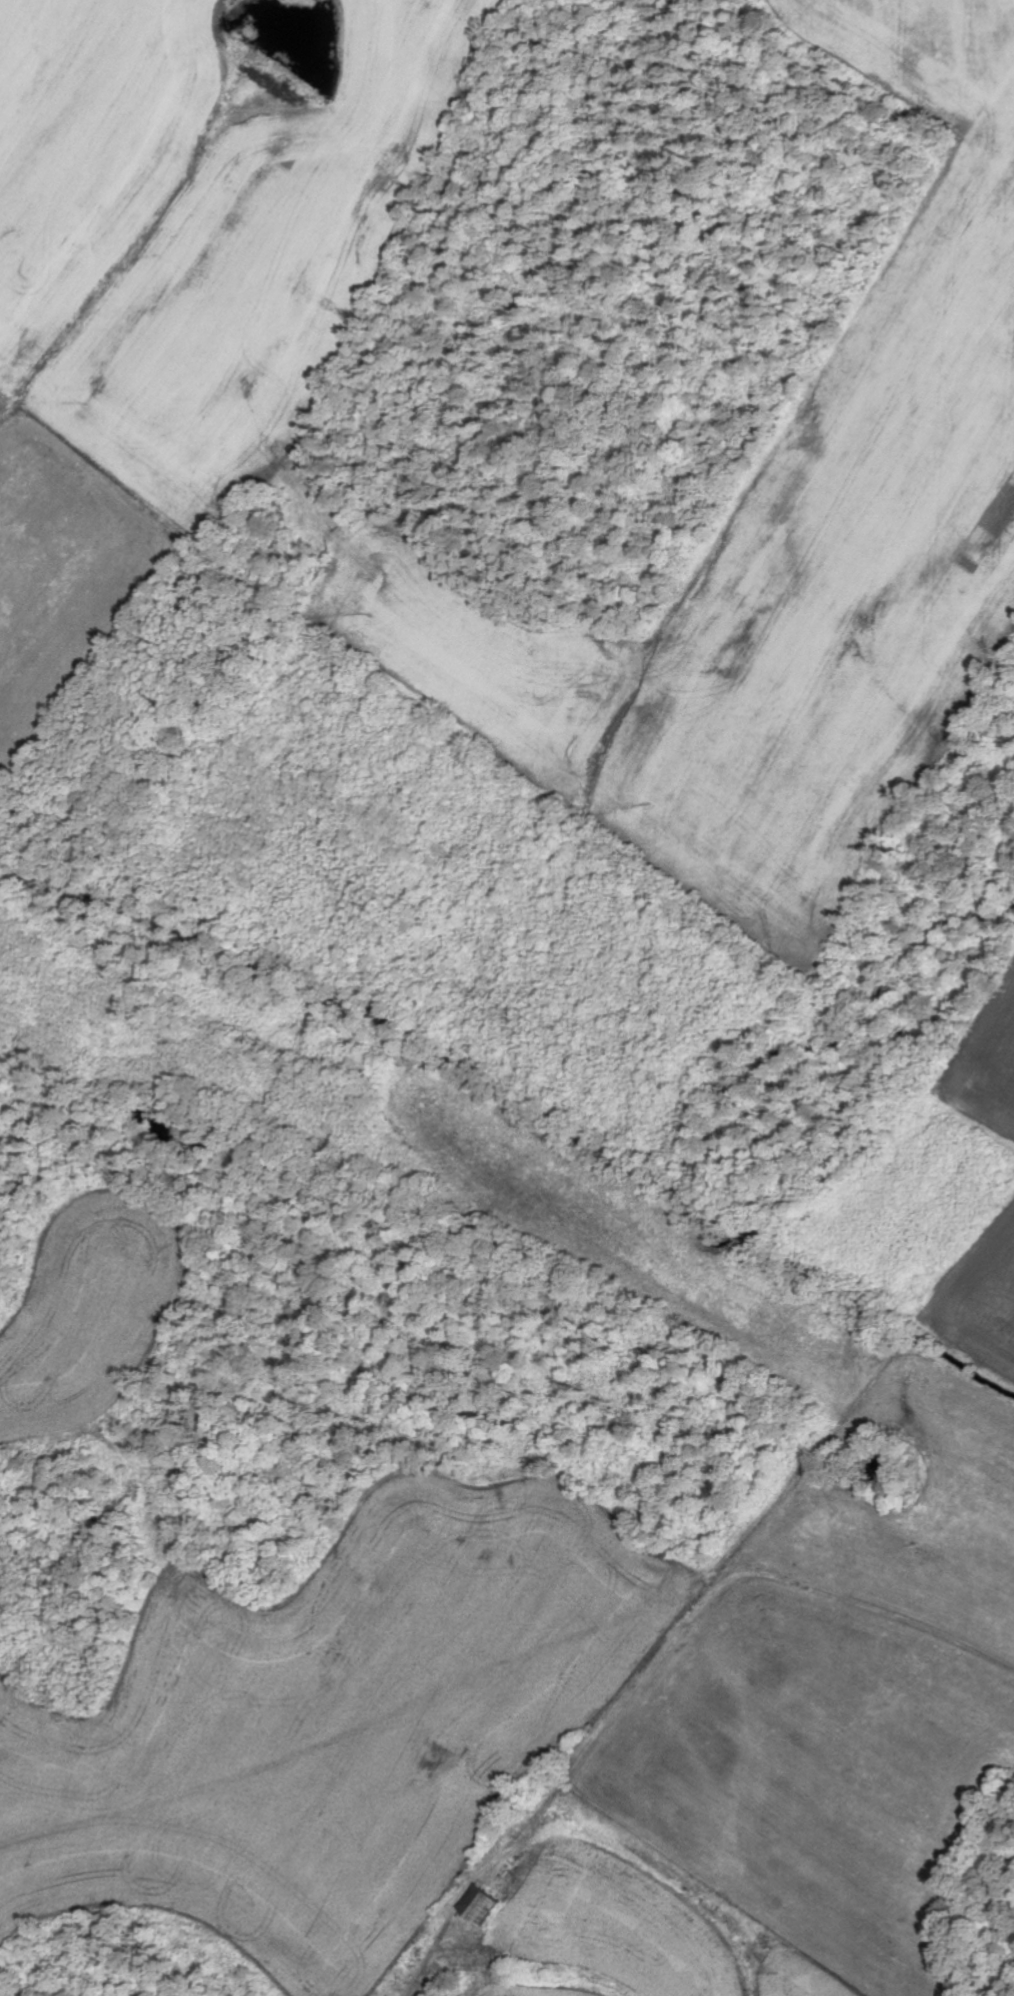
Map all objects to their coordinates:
road: (645, 1689)
building: (482, 1904)
road: (102, 1969)

